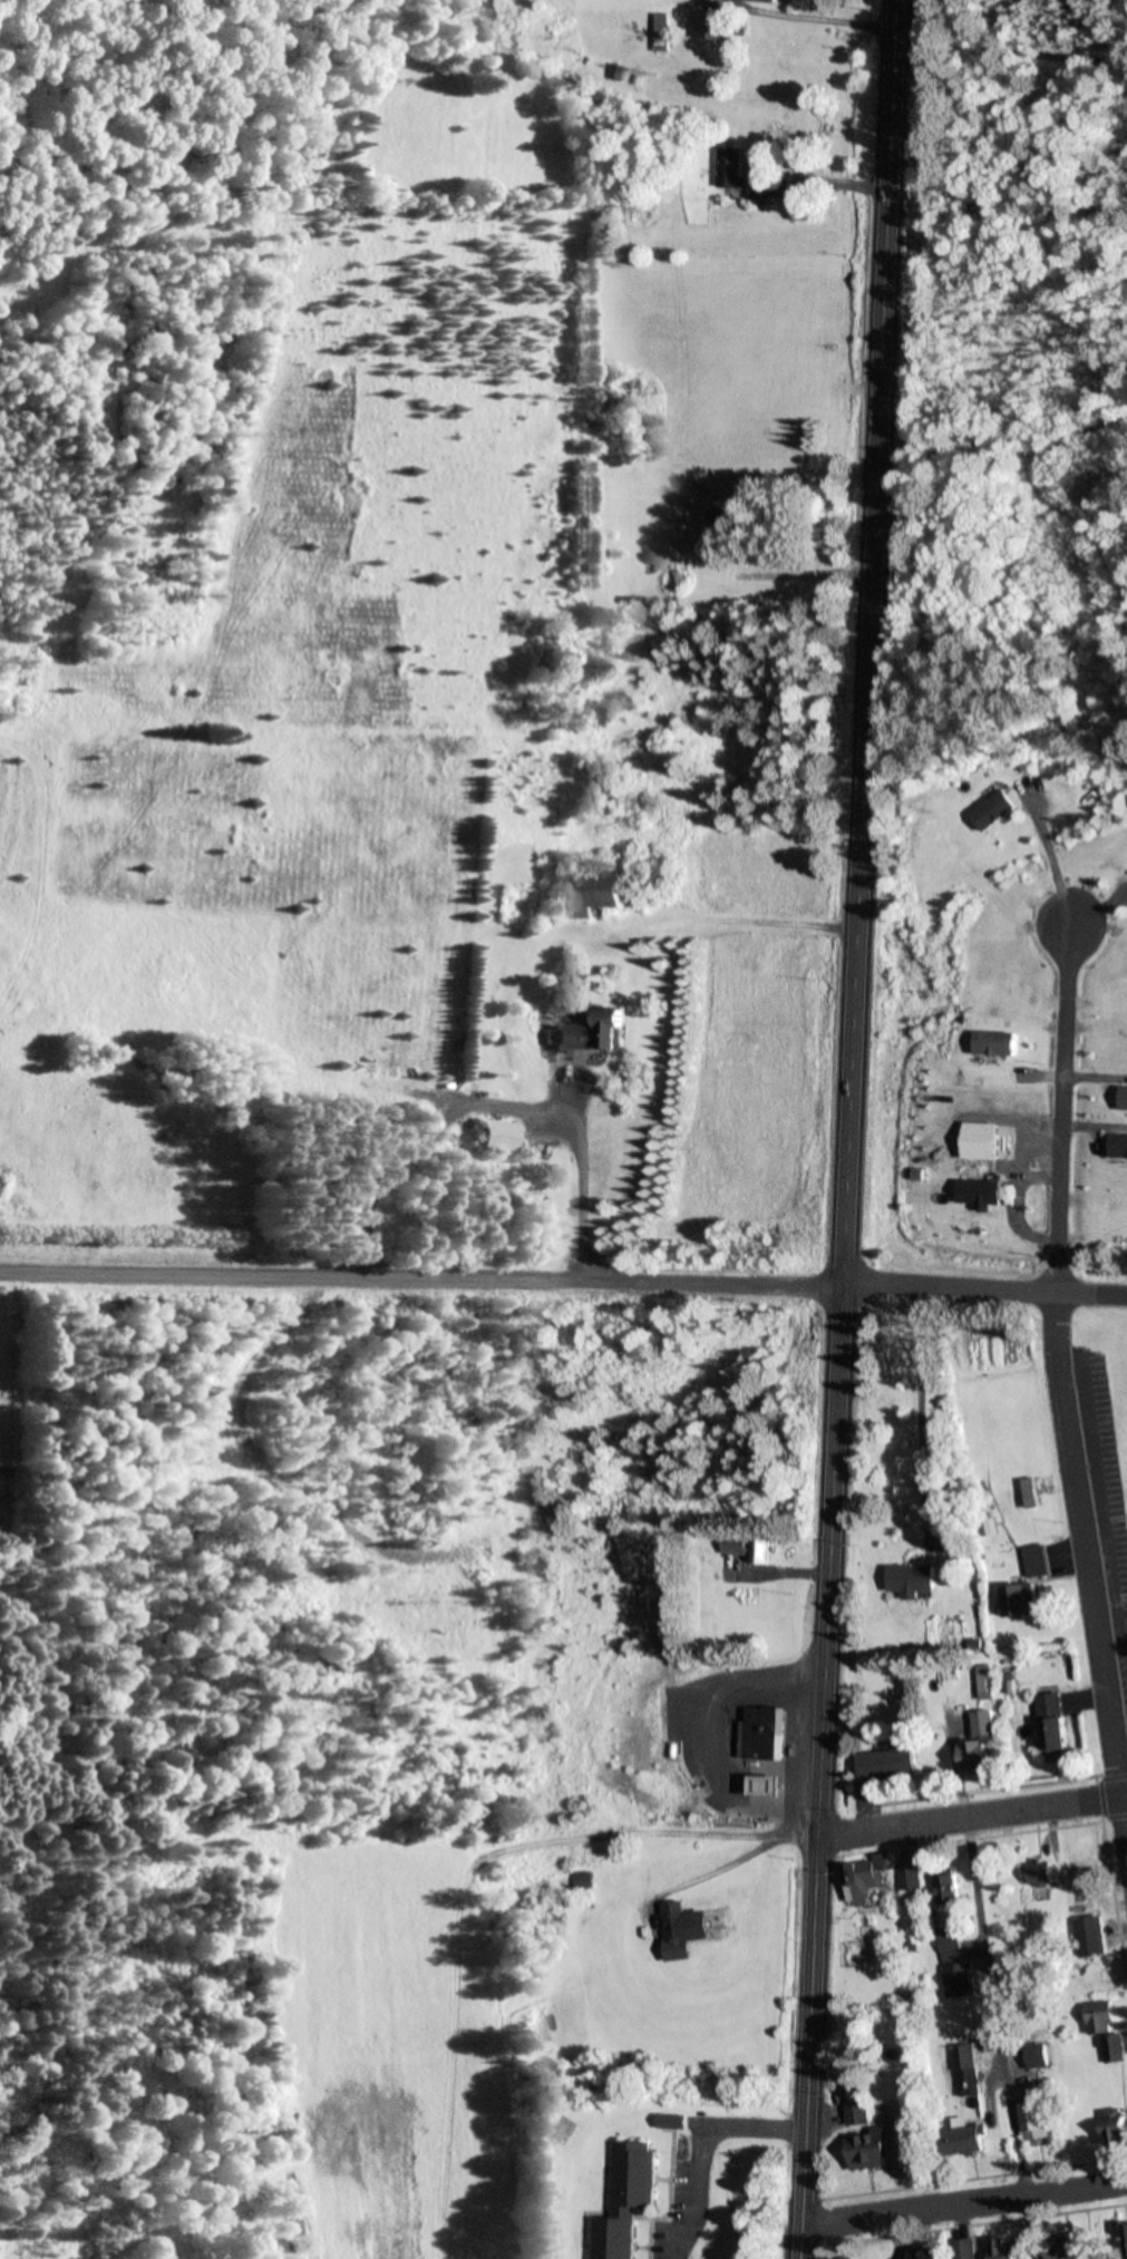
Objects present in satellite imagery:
building: (768, 0)
building: (712, 27)
building: (663, 31)
building: (618, 70)
building: (732, 167)
road: (878, 373)
building: (993, 809)
building: (597, 892)
road: (853, 1016)
building: (592, 1032)
building: (995, 1043)
building: (1125, 1097)
building: (498, 1133)
building: (1120, 1145)
building: (981, 1191)
road: (421, 1278)
road: (984, 1289)
road: (1057, 1386)
park: (16, 1406)
road: (921, 1411)
building: (1030, 1492)
building: (990, 1527)
building: (949, 1540)
building: (751, 1550)
building: (914, 1579)
building: (1027, 1584)
building: (1053, 1723)
building: (764, 1732)
building: (983, 1744)
building: (890, 1763)
road: (822, 1772)
building: (767, 1785)
road: (972, 1818)
road: (643, 1833)
building: (1042, 1873)
building: (912, 1877)
building: (868, 1878)
building: (586, 1879)
building: (1084, 1882)
building: (950, 1888)
building: (686, 1928)
building: (1091, 1936)
building: (951, 1944)
building: (960, 1982)
building: (1106, 2028)
road: (1002, 2038)
crop: (385, 2039)
building: (1040, 2055)
building: (968, 2068)
building: (862, 2112)
building: (1037, 2120)
building: (674, 2121)
building: (1115, 2121)
building: (964, 2138)
road: (702, 2150)
building: (871, 2150)
building: (626, 2200)
road: (963, 2206)
building: (1126, 2241)
building: (1070, 2246)
building: (966, 2248)
building: (1005, 2250)
building: (927, 2253)

